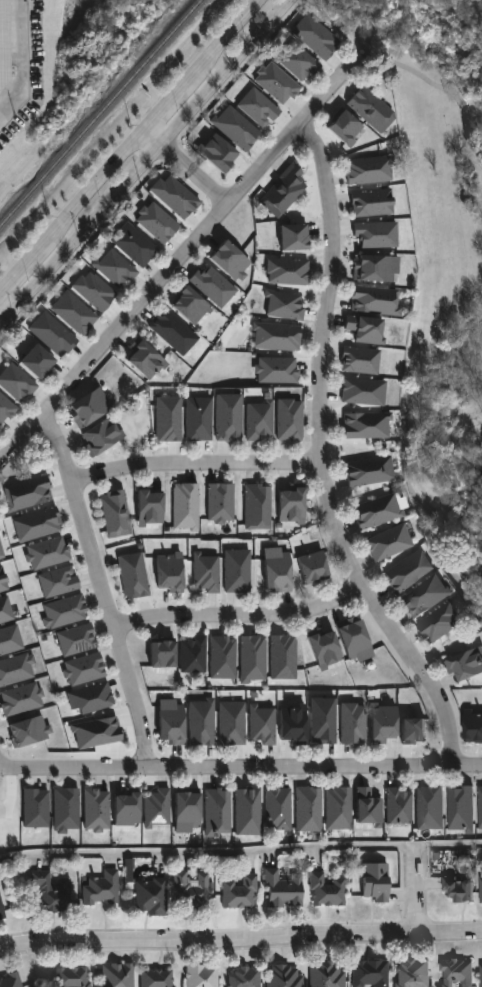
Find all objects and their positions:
road: (227, 36)
building: (315, 37)
building: (3, 41)
road: (23, 62)
building: (298, 63)
building: (277, 83)
road: (169, 101)
building: (259, 107)
building: (370, 109)
railway: (100, 112)
building: (236, 127)
building: (344, 129)
road: (153, 138)
building: (216, 152)
road: (177, 159)
road: (146, 163)
building: (368, 171)
road: (93, 187)
road: (210, 187)
building: (285, 192)
building: (175, 196)
building: (372, 202)
building: (157, 222)
building: (377, 234)
building: (293, 238)
building: (134, 245)
road: (178, 256)
building: (230, 261)
park: (440, 261)
park: (442, 265)
building: (115, 269)
road: (22, 270)
building: (376, 270)
building: (289, 272)
building: (213, 286)
building: (94, 291)
road: (0, 295)
road: (9, 302)
building: (374, 302)
building: (189, 306)
building: (286, 306)
building: (74, 313)
building: (365, 329)
building: (173, 332)
building: (53, 335)
building: (277, 337)
building: (360, 360)
building: (144, 361)
building: (37, 363)
building: (277, 370)
building: (16, 384)
building: (362, 392)
building: (88, 408)
building: (5, 409)
building: (229, 418)
building: (168, 420)
building: (199, 420)
building: (289, 420)
building: (259, 421)
building: (365, 427)
building: (100, 437)
road: (320, 455)
road: (194, 462)
building: (367, 473)
building: (28, 494)
building: (221, 502)
building: (185, 507)
building: (258, 507)
building: (290, 507)
building: (149, 509)
building: (376, 513)
building: (115, 514)
building: (37, 526)
building: (386, 543)
building: (47, 552)
building: (1, 553)
park: (478, 558)
building: (311, 567)
building: (275, 570)
building: (237, 572)
building: (405, 572)
building: (168, 573)
building: (205, 575)
building: (133, 576)
building: (3, 580)
building: (58, 581)
road: (100, 586)
building: (422, 596)
building: (5, 609)
building: (64, 611)
road: (238, 613)
building: (436, 623)
building: (10, 639)
building: (76, 639)
building: (353, 641)
building: (324, 649)
building: (160, 654)
building: (193, 654)
building: (222, 657)
building: (283, 657)
building: (253, 658)
building: (463, 666)
building: (17, 669)
building: (84, 669)
building: (21, 699)
building: (90, 699)
building: (322, 721)
building: (171, 722)
building: (201, 722)
building: (232, 723)
building: (352, 723)
building: (291, 724)
building: (382, 725)
building: (262, 726)
building: (472, 728)
building: (413, 730)
building: (29, 731)
building: (97, 732)
road: (314, 764)
road: (73, 765)
building: (399, 806)
building: (157, 807)
building: (368, 807)
building: (36, 808)
building: (125, 808)
building: (459, 808)
building: (480, 808)
building: (66, 809)
building: (96, 809)
building: (278, 809)
building: (308, 809)
building: (338, 809)
building: (429, 809)
building: (218, 811)
building: (248, 811)
building: (186, 812)
road: (448, 845)
road: (207, 852)
building: (130, 870)
building: (374, 882)
building: (101, 888)
building: (283, 890)
road: (415, 890)
building: (457, 890)
building: (480, 890)
building: (192, 891)
building: (327, 891)
building: (49, 893)
building: (241, 893)
building: (152, 897)
building: (1, 912)
road: (240, 939)
building: (370, 973)
building: (411, 973)
building: (454, 973)
building: (480, 973)
building: (327, 974)
building: (118, 975)
building: (201, 976)
building: (284, 976)
building: (72, 977)
building: (245, 977)
building: (157, 978)
building: (11, 979)

